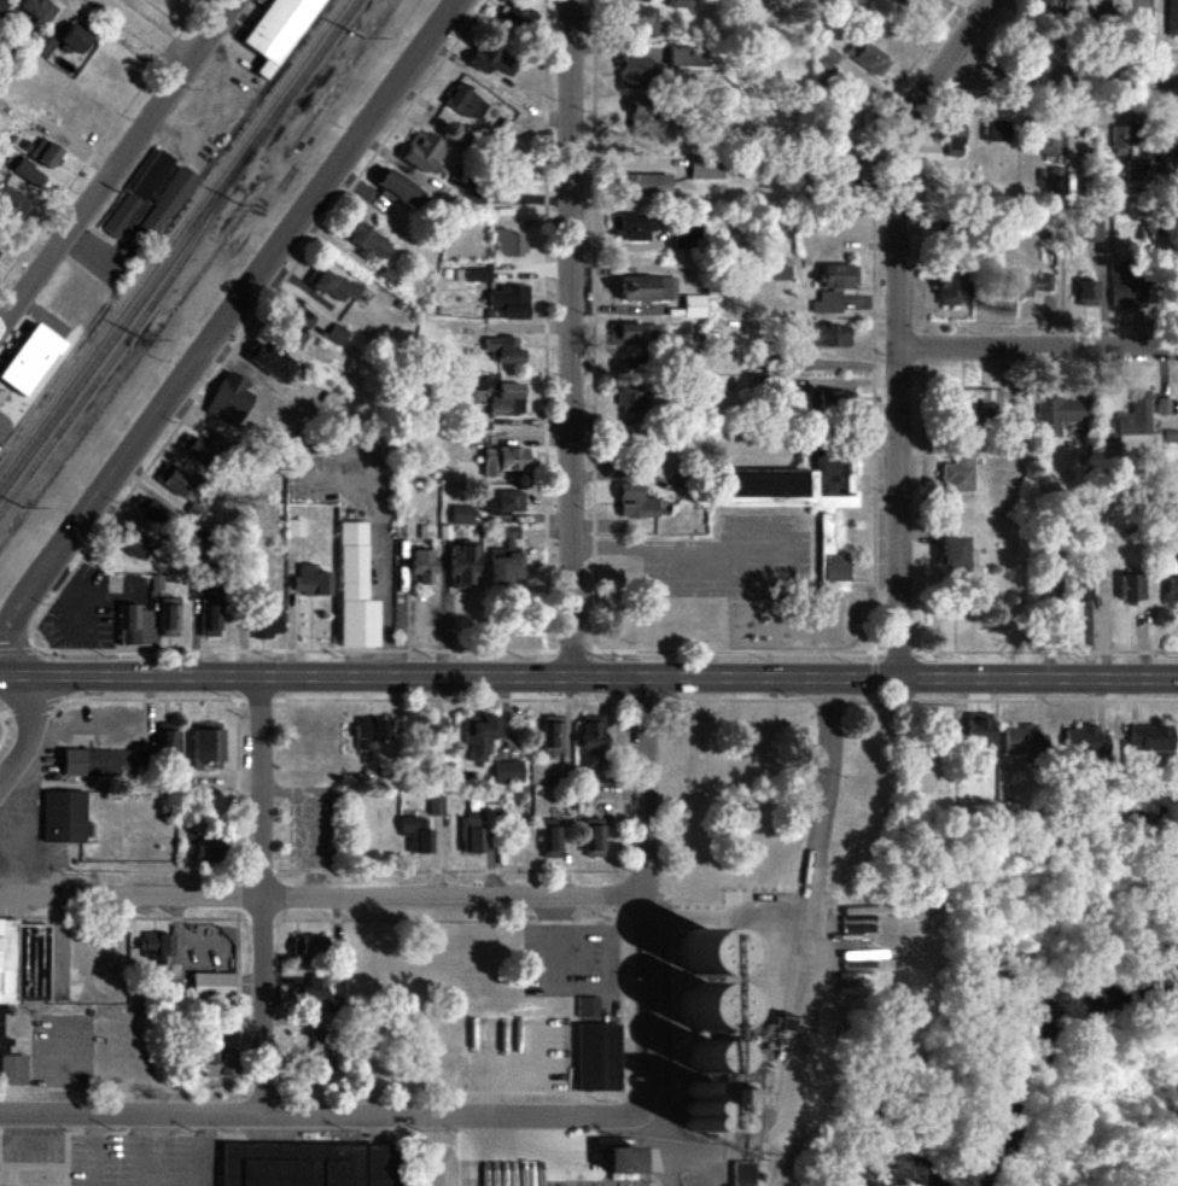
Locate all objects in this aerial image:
building: (680, 4)
building: (2, 5)
building: (914, 6)
building: (1043, 7)
building: (39, 12)
building: (1172, 18)
building: (640, 19)
building: (280, 31)
road: (147, 33)
building: (76, 39)
building: (45, 46)
building: (496, 57)
building: (688, 57)
building: (868, 58)
building: (634, 74)
road: (1059, 74)
building: (466, 103)
building: (646, 118)
building: (855, 122)
building: (999, 130)
building: (954, 139)
building: (1121, 141)
building: (1171, 142)
building: (1048, 144)
building: (424, 151)
building: (45, 153)
road: (121, 163)
building: (706, 169)
building: (28, 173)
building: (151, 175)
building: (1055, 181)
building: (645, 186)
building: (402, 189)
building: (165, 201)
building: (12, 203)
road: (1172, 210)
building: (124, 216)
building: (634, 227)
building: (1092, 232)
railway: (173, 238)
building: (508, 243)
building: (369, 244)
building: (0, 249)
railway: (181, 249)
building: (781, 273)
building: (477, 275)
building: (332, 285)
building: (1030, 285)
building: (1125, 286)
building: (834, 287)
building: (950, 288)
building: (648, 290)
building: (1087, 293)
building: (511, 302)
building: (694, 306)
road: (900, 323)
building: (296, 327)
road: (221, 329)
railway: (129, 333)
building: (337, 335)
building: (634, 335)
road: (571, 337)
building: (832, 337)
building: (503, 350)
road: (1039, 350)
building: (274, 362)
building: (21, 367)
building: (488, 385)
building: (632, 399)
building: (229, 401)
building: (508, 401)
building: (829, 404)
building: (974, 405)
building: (1164, 407)
building: (1059, 415)
building: (1135, 416)
parking lot: (2, 431)
building: (1170, 437)
building: (197, 450)
building: (505, 461)
building: (960, 473)
building: (175, 480)
building: (803, 501)
building: (502, 503)
building: (636, 503)
building: (150, 513)
building: (462, 515)
building: (296, 528)
building: (508, 532)
building: (133, 544)
road: (637, 545)
building: (956, 555)
building: (462, 565)
building: (506, 567)
building: (421, 568)
building: (311, 583)
building: (156, 584)
building: (1173, 584)
building: (1073, 589)
building: (1133, 589)
building: (355, 591)
building: (168, 618)
building: (266, 619)
building: (210, 621)
building: (133, 626)
road: (381, 626)
road: (588, 654)
road: (588, 673)
road: (623, 705)
road: (36, 713)
road: (6, 720)
park: (4, 728)
building: (980, 729)
road: (25, 731)
building: (371, 732)
building: (480, 735)
building: (553, 736)
building: (1150, 737)
road: (7, 738)
building: (1020, 741)
building: (1084, 741)
building: (206, 742)
building: (593, 742)
building: (165, 743)
building: (94, 767)
building: (508, 772)
building: (436, 805)
building: (53, 820)
building: (473, 829)
building: (416, 834)
building: (552, 839)
building: (595, 839)
building: (210, 852)
road: (811, 887)
road: (643, 892)
road: (264, 893)
road: (321, 898)
road: (725, 921)
building: (156, 947)
building: (309, 950)
building: (21, 969)
building: (212, 986)
building: (315, 992)
building: (587, 1007)
building: (316, 1035)
building: (596, 1057)
building: (220, 1061)
building: (11, 1064)
building: (711, 1109)
road: (321, 1116)
road: (654, 1134)
parking lot: (29, 1147)
road: (86, 1151)
road: (146, 1151)
road: (188, 1151)
parking lot: (130, 1156)
building: (625, 1161)
building: (304, 1168)
road: (666, 1172)

